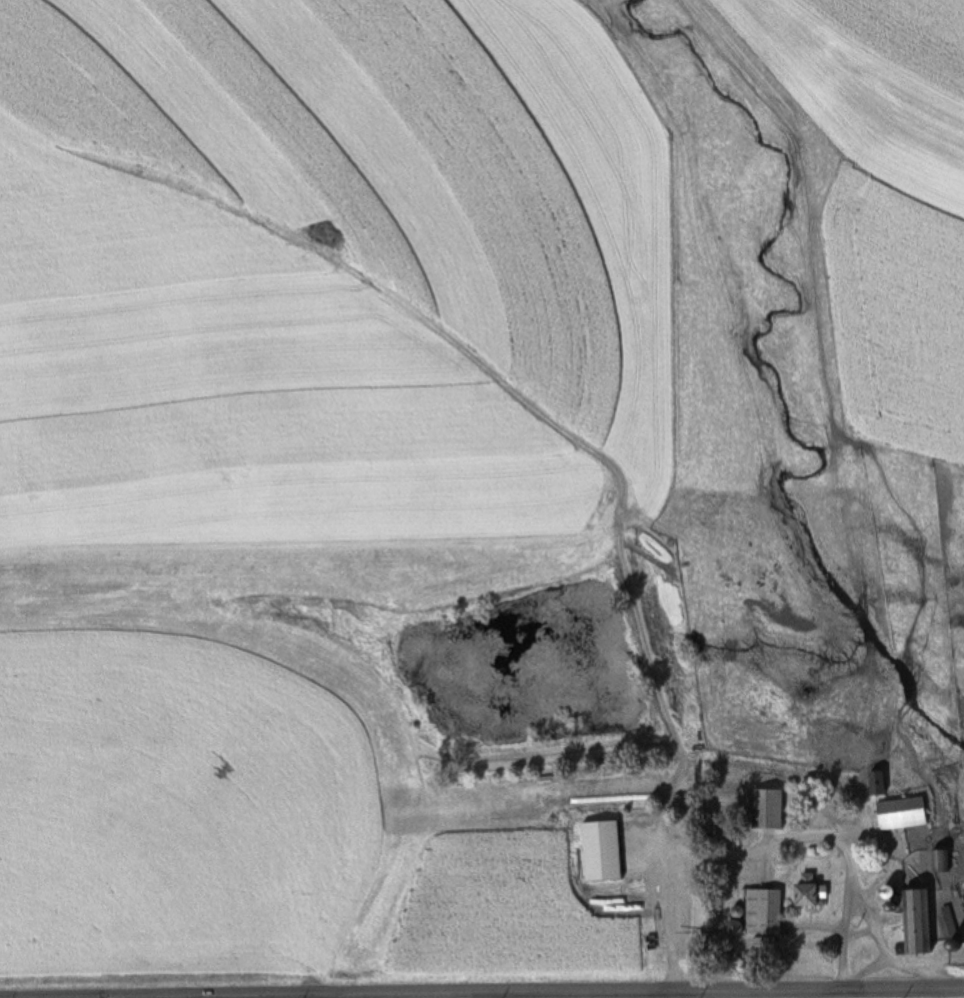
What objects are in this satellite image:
building: (876, 783)
building: (768, 810)
building: (901, 814)
road: (772, 847)
building: (600, 851)
building: (940, 861)
building: (809, 894)
building: (762, 912)
building: (916, 921)
road: (534, 992)

